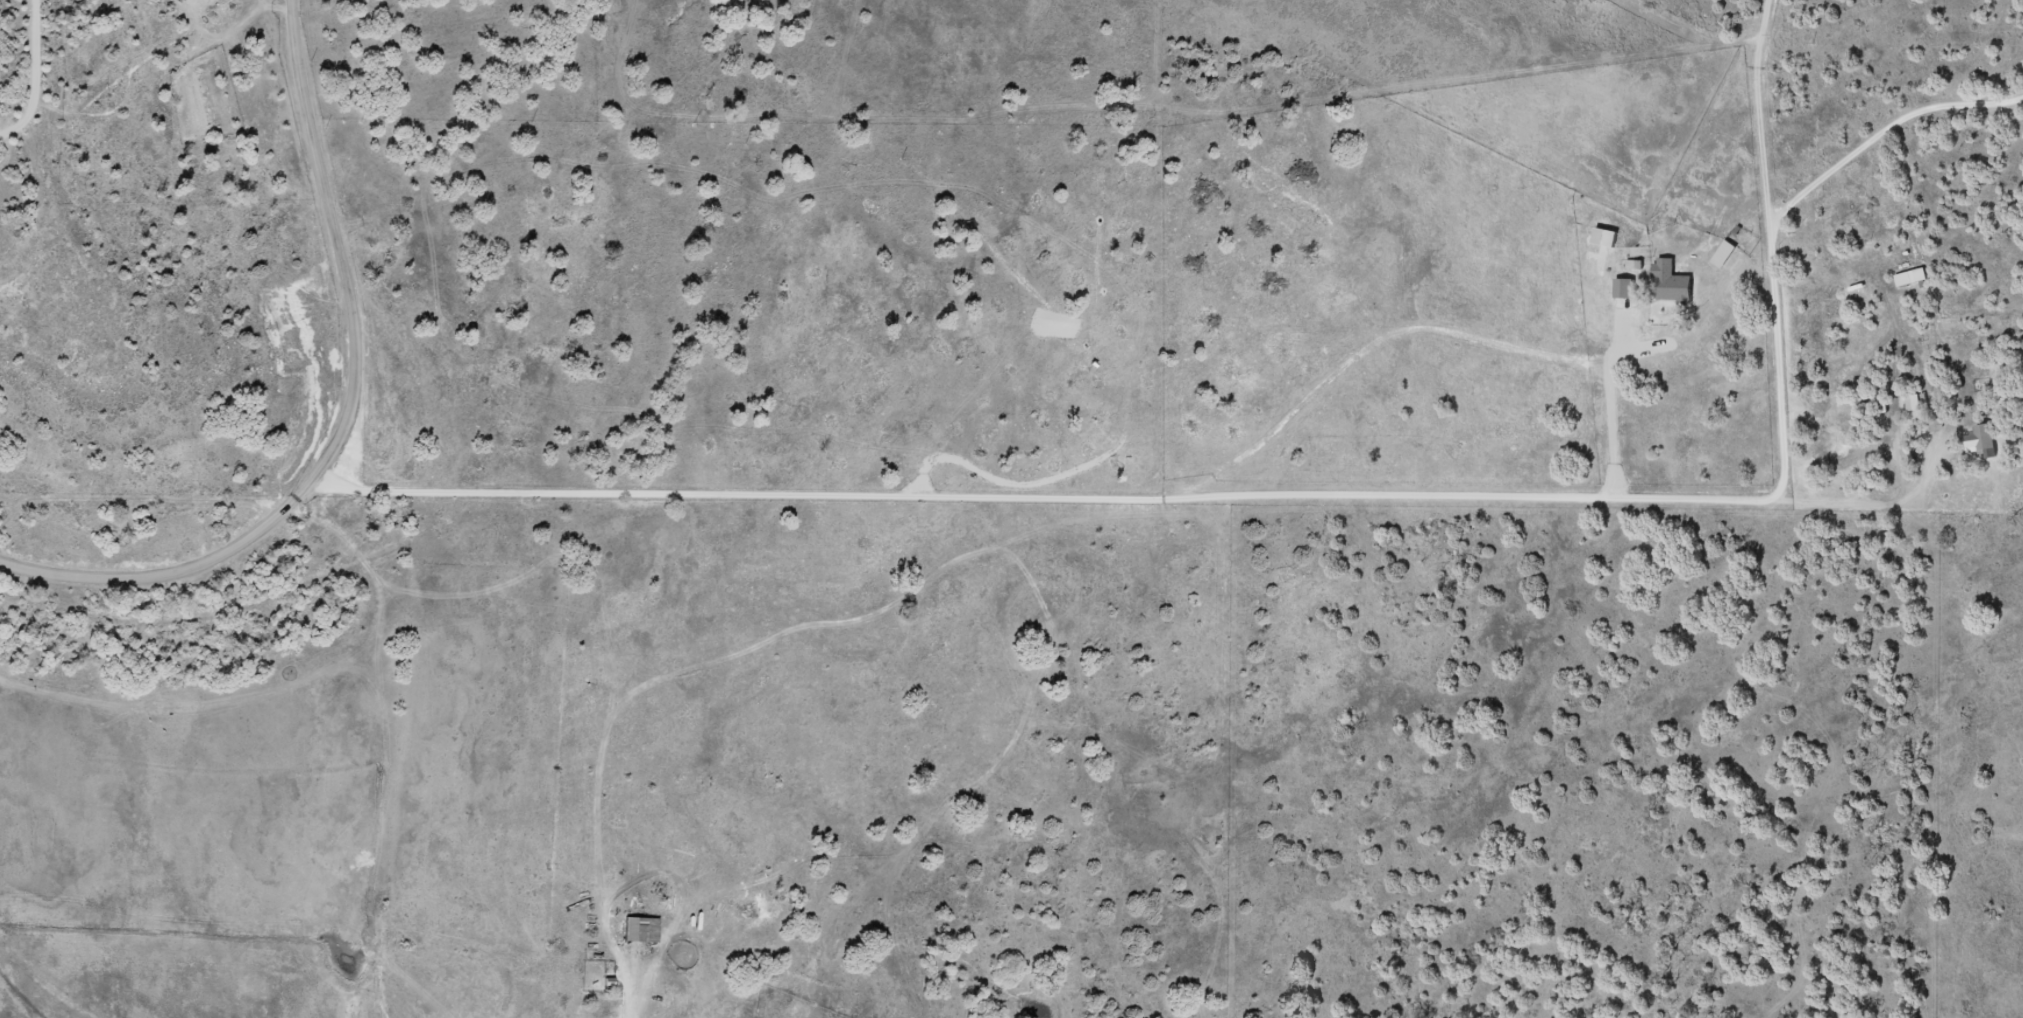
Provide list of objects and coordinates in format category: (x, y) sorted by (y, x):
building: (180, 0)
building: (1723, 255)
building: (1669, 284)
road: (340, 425)
building: (1981, 439)
road: (1249, 457)
road: (1589, 501)

